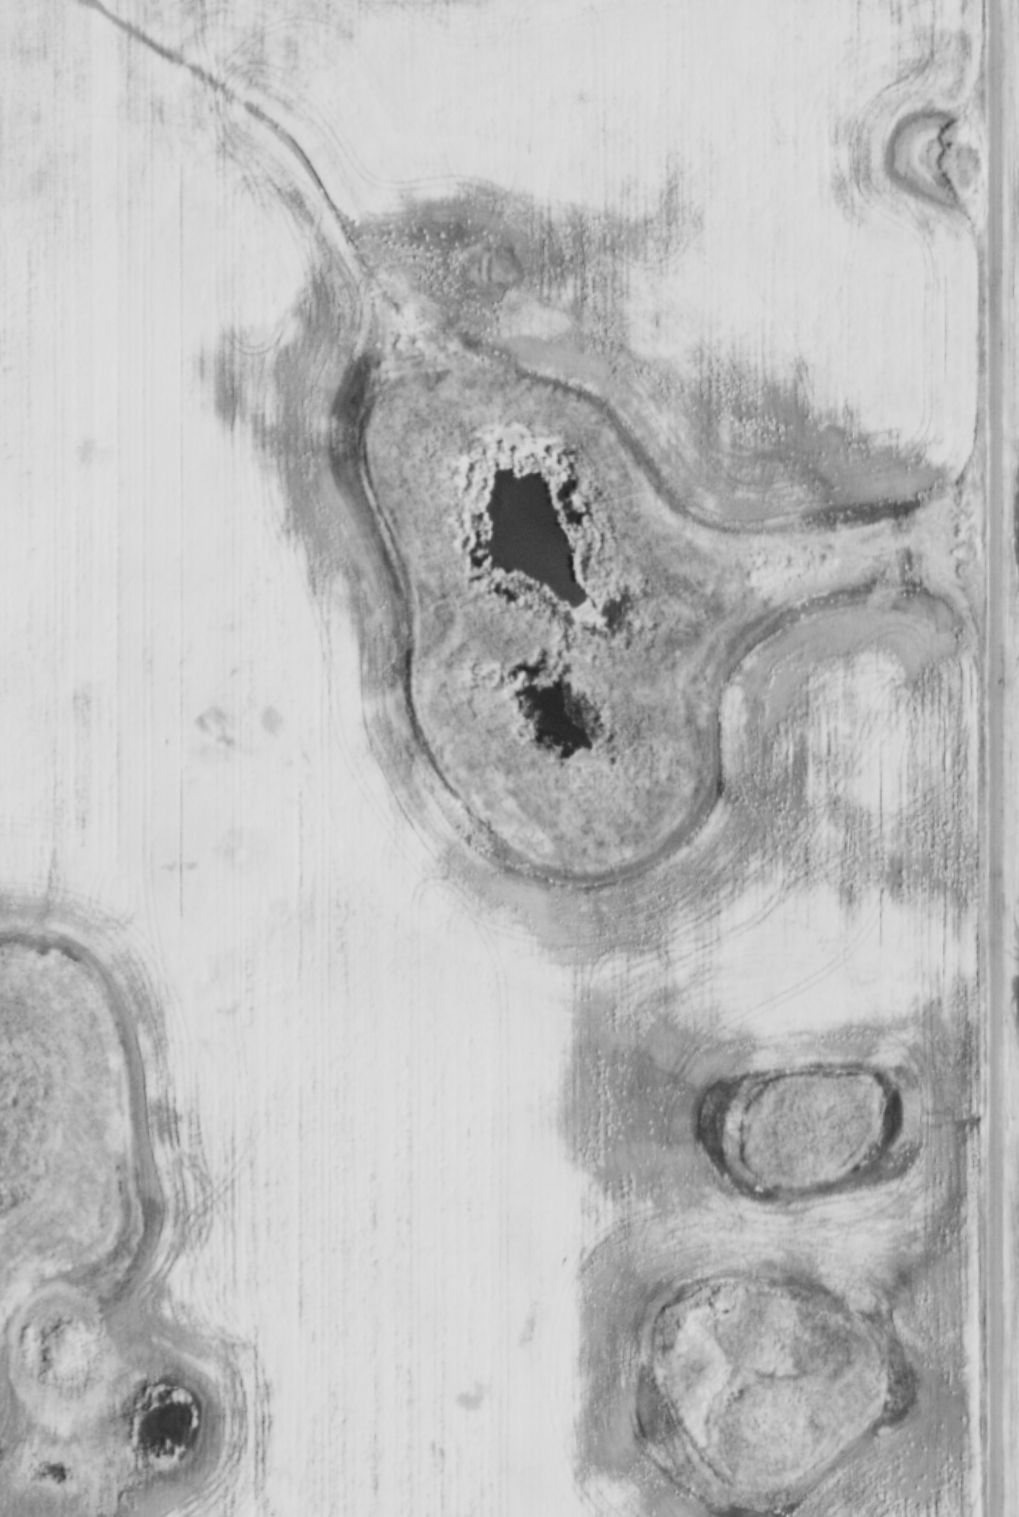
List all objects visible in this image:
road: (995, 758)

